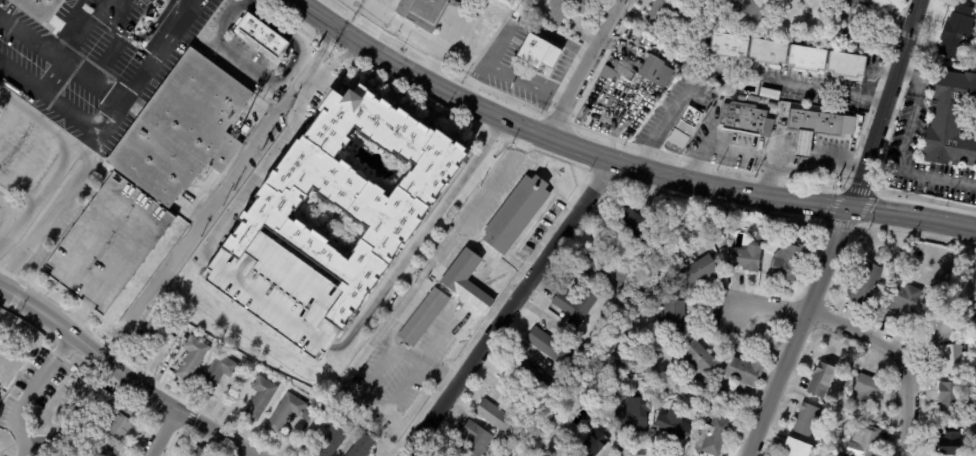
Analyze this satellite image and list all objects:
road: (244, 0)
building: (165, 1)
building: (395, 5)
road: (366, 7)
building: (39, 8)
building: (565, 9)
building: (425, 12)
building: (750, 12)
building: (667, 13)
road: (319, 15)
road: (229, 20)
road: (371, 20)
building: (860, 21)
building: (957, 31)
building: (259, 34)
road: (140, 35)
road: (288, 36)
road: (32, 37)
building: (820, 38)
road: (193, 39)
road: (75, 43)
road: (327, 47)
building: (733, 47)
building: (542, 52)
road: (594, 52)
building: (772, 54)
road: (341, 57)
building: (811, 60)
road: (244, 61)
road: (146, 64)
building: (850, 67)
road: (319, 68)
road: (21, 72)
building: (657, 72)
building: (617, 73)
road: (508, 75)
road: (915, 77)
road: (92, 80)
road: (805, 81)
building: (770, 94)
building: (740, 97)
building: (755, 100)
building: (772, 105)
road: (71, 108)
road: (7, 112)
road: (555, 120)
building: (746, 120)
building: (952, 122)
building: (821, 126)
building: (685, 128)
gas station: (813, 129)
building: (179, 130)
road: (659, 131)
road: (905, 131)
road: (699, 158)
road: (62, 160)
road: (262, 163)
road: (806, 163)
road: (645, 167)
building: (832, 175)
road: (936, 177)
road: (224, 187)
road: (16, 188)
road: (9, 212)
road: (53, 212)
traffic signals: (854, 212)
building: (636, 224)
building: (278, 228)
road: (844, 232)
road: (418, 239)
building: (722, 240)
building: (498, 241)
building: (107, 243)
parking lot: (107, 243)
building: (913, 247)
building: (746, 259)
building: (917, 259)
building: (787, 263)
building: (903, 268)
building: (696, 274)
building: (603, 275)
building: (866, 281)
building: (904, 299)
building: (219, 300)
building: (577, 304)
road: (405, 306)
road: (767, 306)
road: (510, 310)
building: (423, 317)
building: (673, 318)
building: (939, 326)
building: (155, 331)
building: (552, 347)
road: (88, 348)
road: (900, 353)
building: (955, 358)
building: (192, 359)
building: (698, 360)
building: (614, 364)
building: (651, 364)
building: (745, 373)
building: (217, 374)
building: (823, 378)
building: (532, 379)
building: (869, 389)
road: (28, 390)
building: (102, 397)
building: (260, 398)
building: (952, 398)
building: (727, 409)
building: (288, 413)
building: (693, 418)
building: (808, 418)
building: (500, 419)
building: (123, 422)
building: (630, 422)
building: (674, 425)
building: (969, 427)
road: (161, 433)
road: (217, 433)
building: (716, 437)
building: (334, 438)
building: (475, 441)
building: (864, 442)
building: (950, 442)
building: (591, 444)
building: (362, 447)
building: (798, 447)
building: (104, 448)
building: (198, 452)
building: (59, 454)

